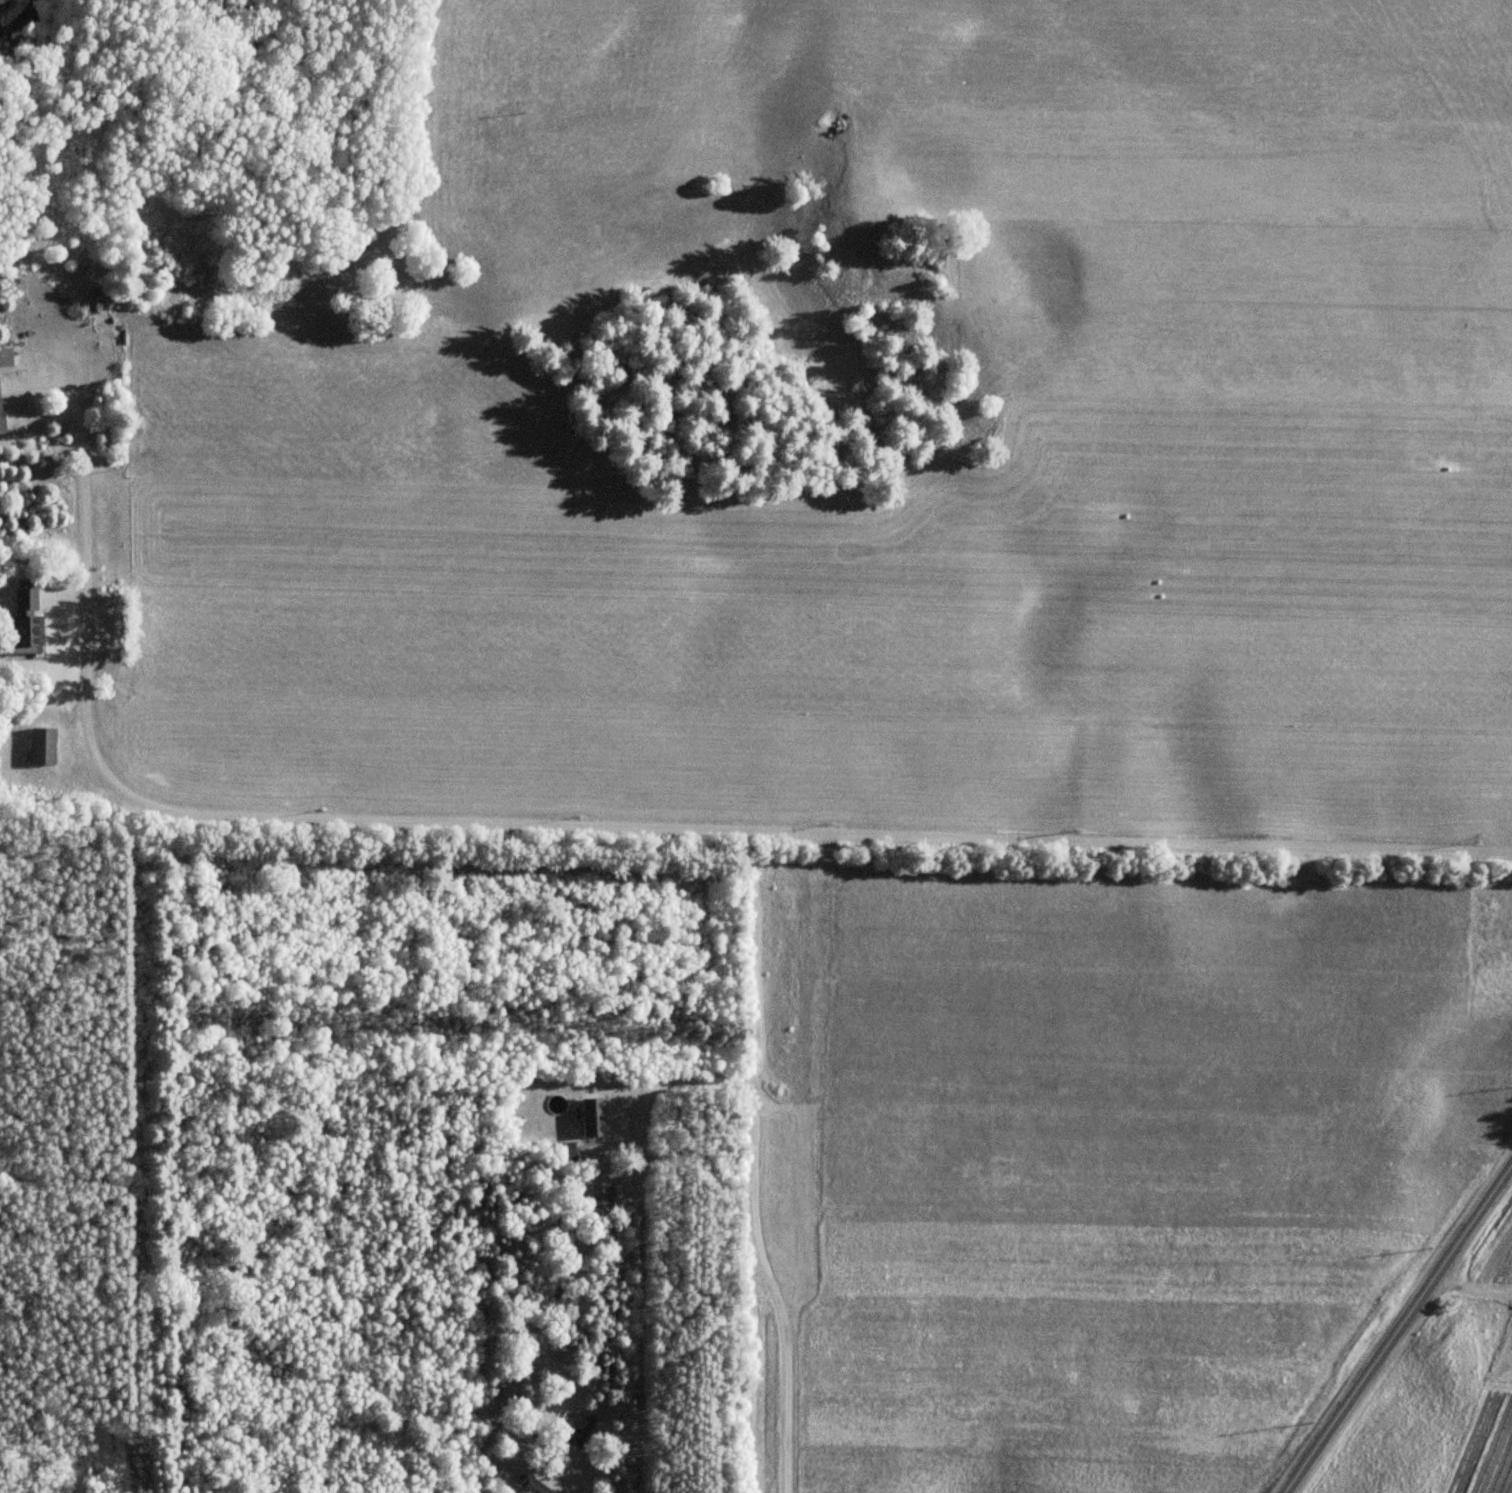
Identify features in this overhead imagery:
building: (5, 357)
building: (0, 420)
building: (21, 622)
building: (40, 746)
road: (584, 830)
building: (590, 1117)
building: (596, 1199)
road: (637, 1222)
road: (776, 1307)
road: (1392, 1321)
building: (578, 1429)
road: (570, 1478)
building: (533, 1487)

